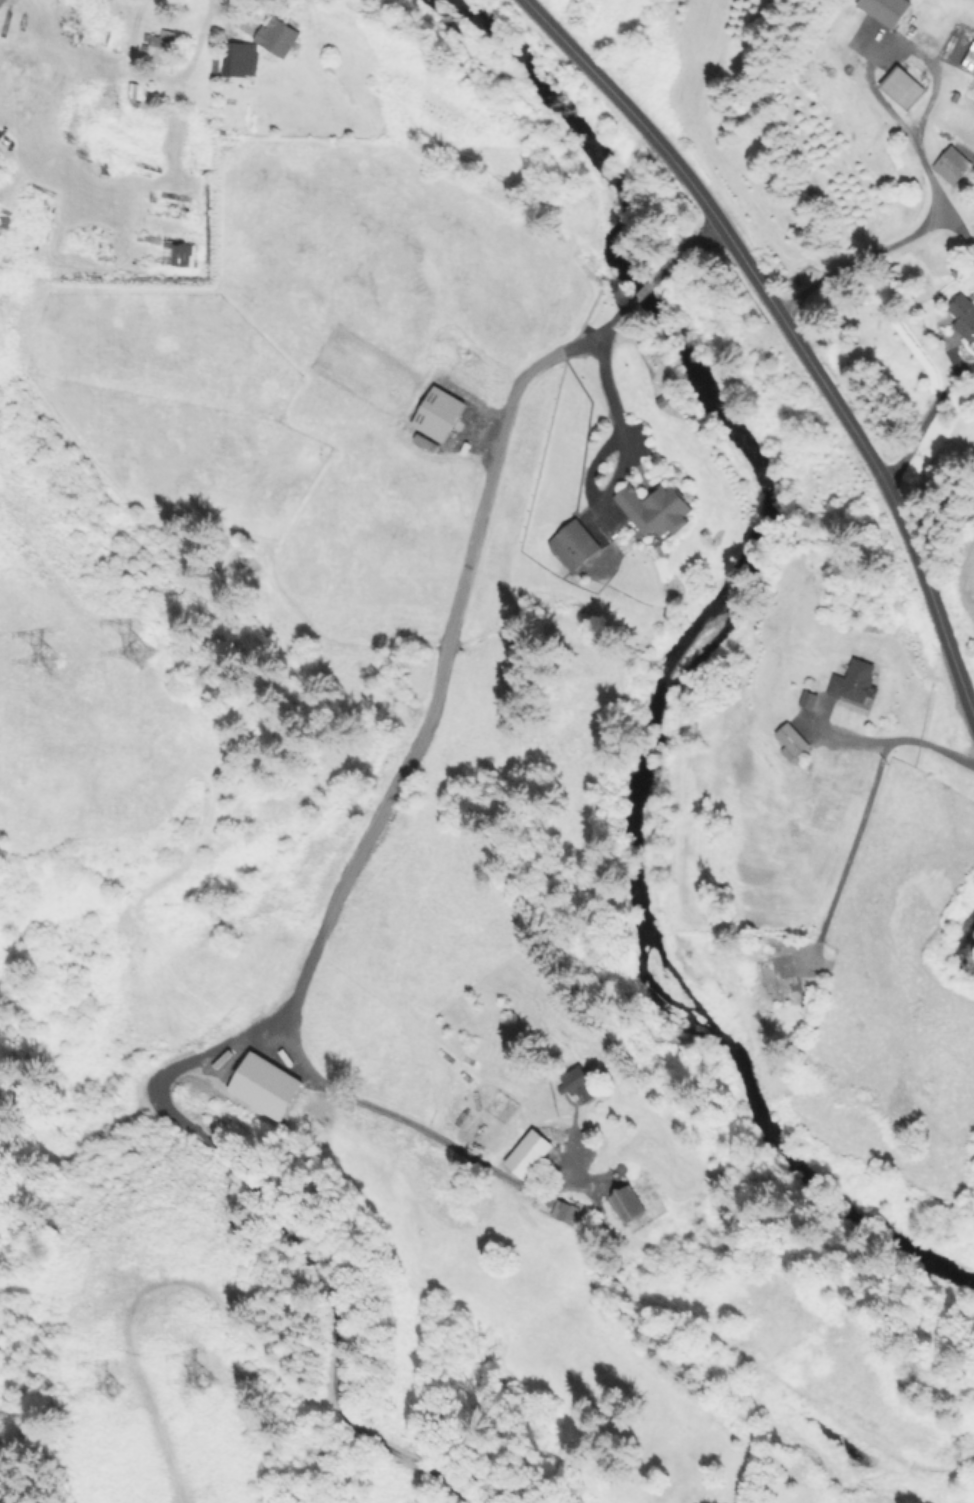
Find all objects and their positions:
building: (884, 9)
building: (275, 36)
building: (161, 45)
building: (237, 59)
road: (162, 78)
road: (603, 82)
building: (900, 86)
building: (950, 164)
road: (922, 221)
road: (955, 229)
road: (684, 245)
building: (182, 254)
road: (646, 284)
building: (963, 315)
road: (601, 365)
building: (437, 413)
road: (929, 420)
road: (852, 428)
building: (424, 442)
building: (653, 508)
building: (583, 551)
power tower: (110, 641)
power tower: (24, 650)
road: (440, 672)
building: (851, 681)
building: (811, 700)
road: (844, 737)
building: (789, 740)
road: (869, 799)
building: (264, 1085)
building: (574, 1085)
road: (341, 1091)
building: (526, 1152)
building: (625, 1203)
building: (563, 1211)
power tower: (180, 1379)
power tower: (90, 1392)

